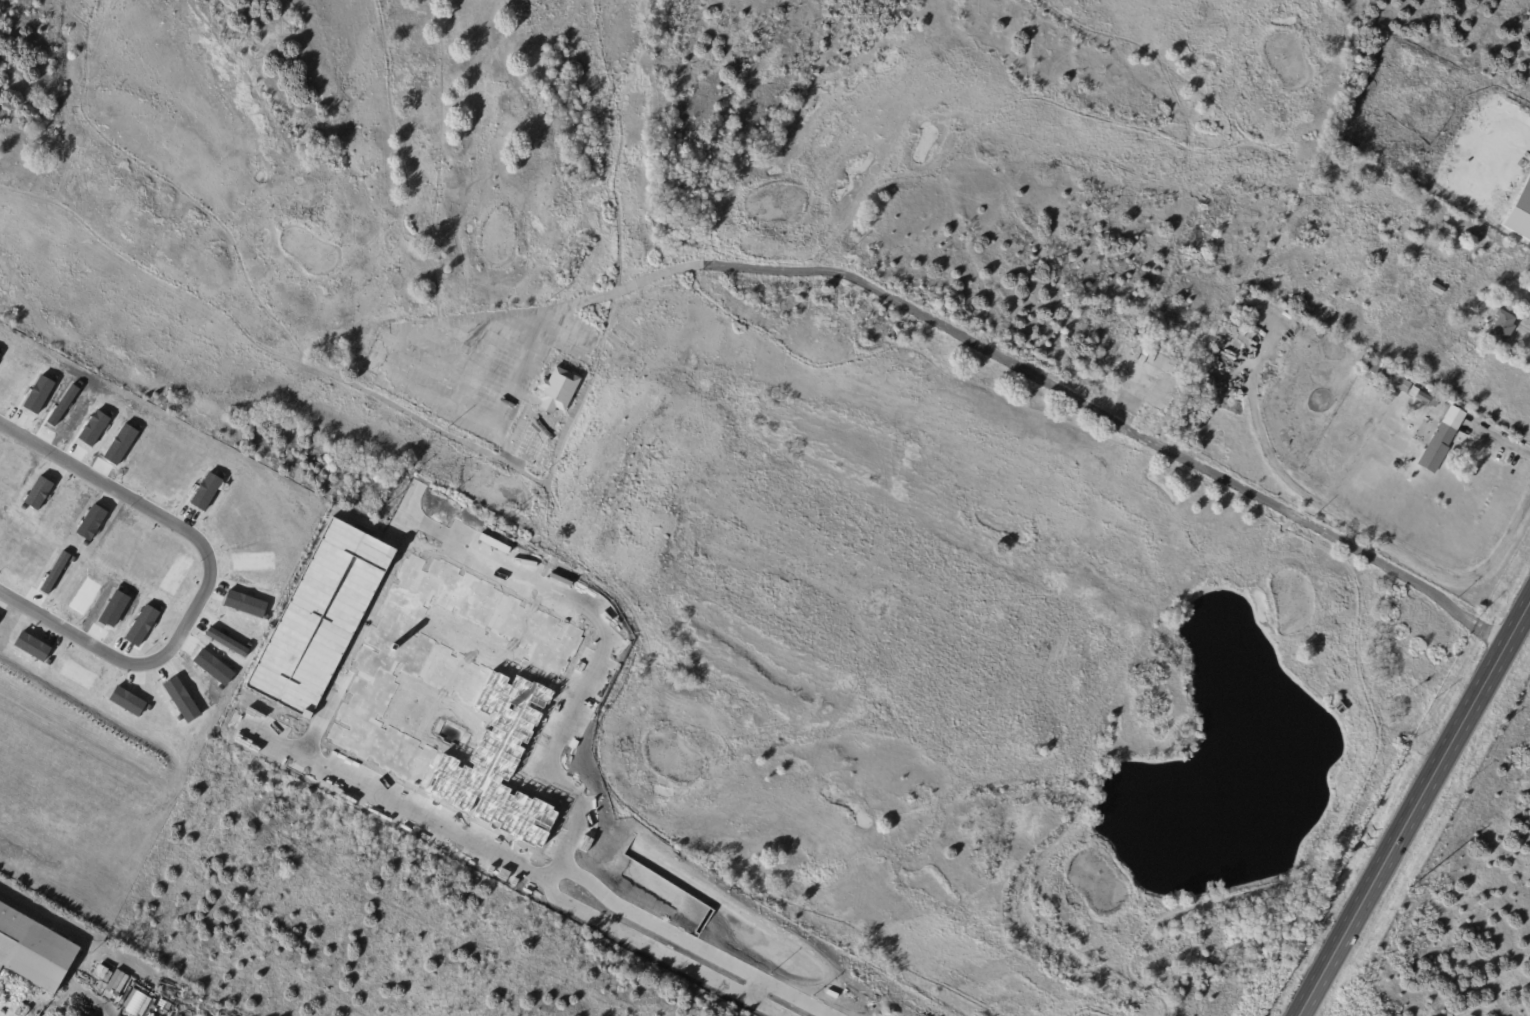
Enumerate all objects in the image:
road: (1162, 63)
road: (1229, 134)
road: (1293, 149)
road: (614, 188)
building: (1444, 235)
road: (415, 242)
road: (239, 261)
road: (152, 273)
road: (856, 279)
building: (1438, 289)
building: (1503, 329)
building: (1320, 336)
parking lot: (479, 366)
building: (1383, 371)
road: (995, 392)
building: (1163, 392)
building: (1391, 394)
building: (1423, 398)
road: (399, 408)
building: (544, 416)
park: (787, 421)
road: (1502, 441)
building: (1438, 449)
road: (1366, 532)
building: (435, 534)
road: (214, 578)
building: (444, 585)
road: (445, 666)
building: (1338, 707)
building: (418, 757)
road: (1411, 802)
road: (609, 807)
road: (650, 825)
building: (34, 951)
road: (1089, 1009)

